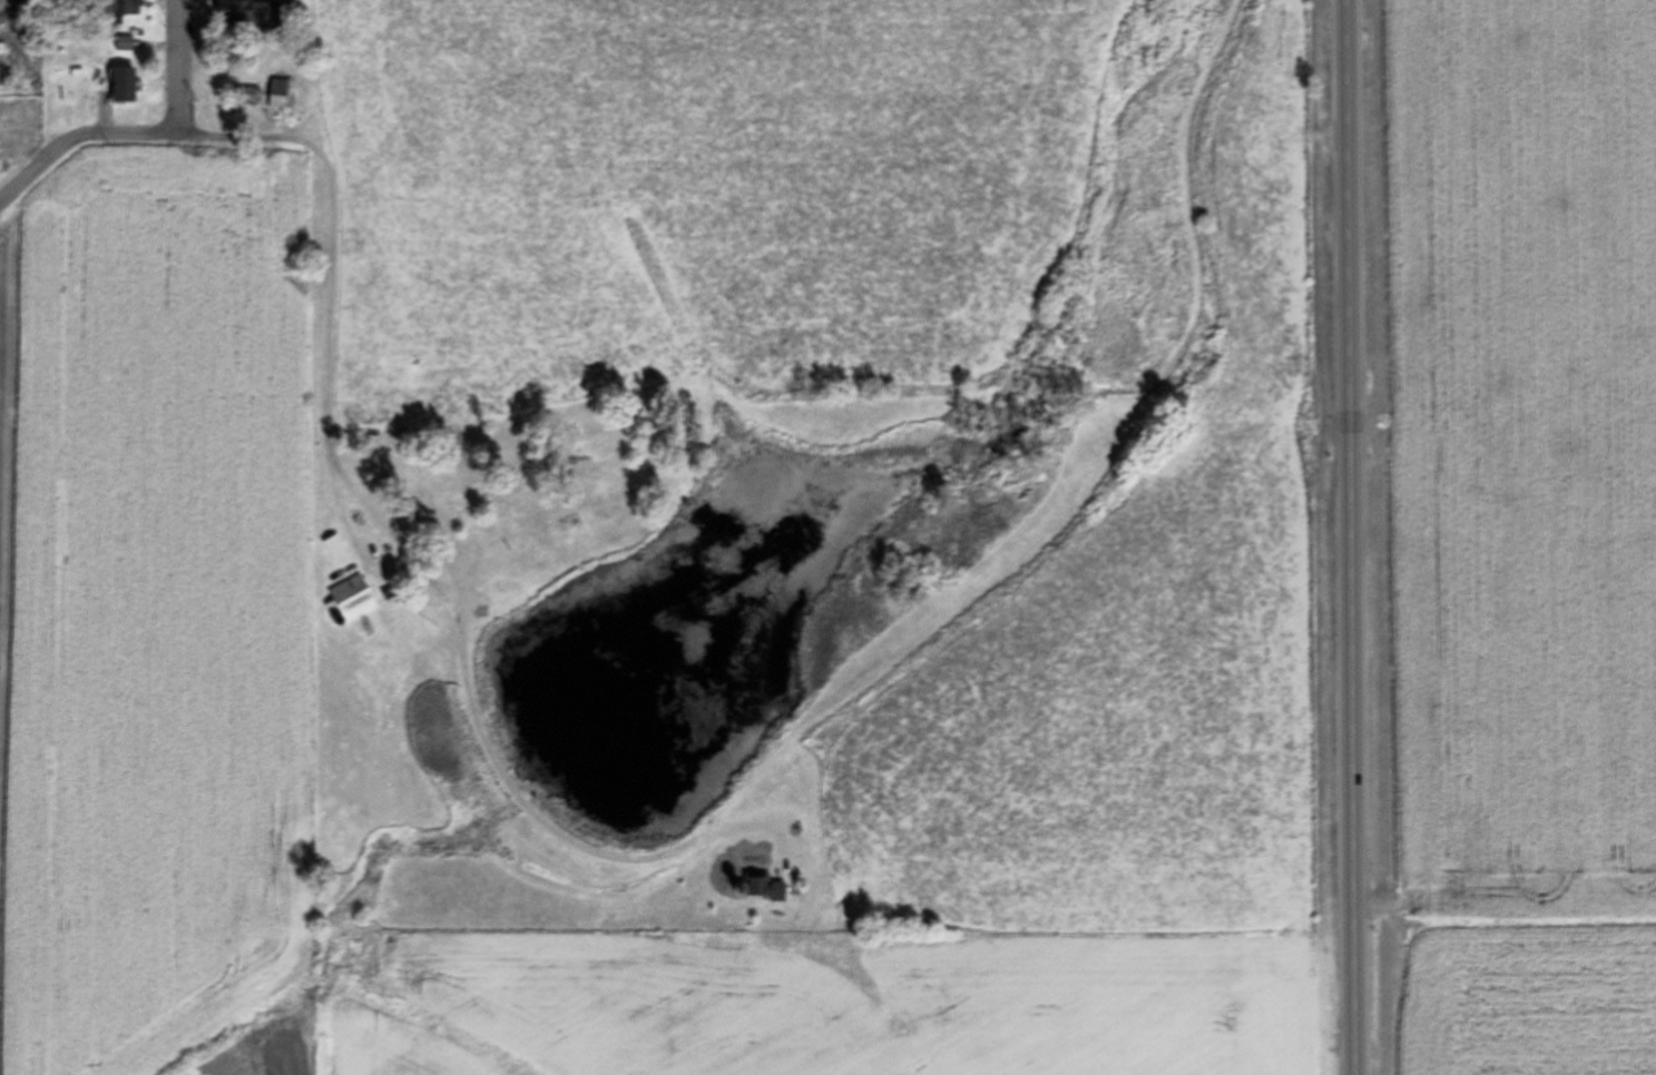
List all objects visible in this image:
building: (120, 10)
building: (247, 12)
building: (125, 43)
road: (182, 67)
building: (121, 85)
building: (242, 92)
building: (277, 92)
road: (293, 135)
road: (1353, 537)
building: (335, 549)
building: (351, 600)
building: (763, 888)

